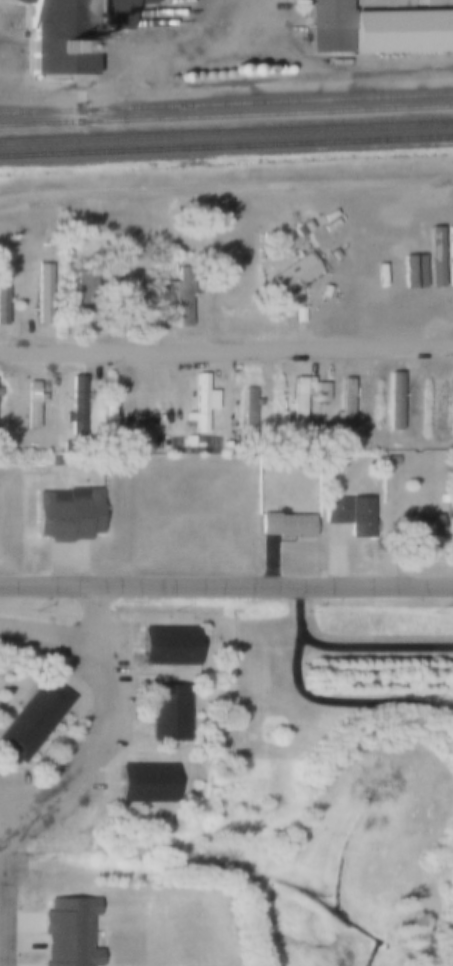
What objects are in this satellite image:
building: (326, 26)
building: (68, 32)
building: (395, 32)
building: (210, 65)
silo: (210, 65)
building: (219, 65)
silo: (219, 65)
building: (236, 70)
silo: (236, 70)
building: (251, 70)
silo: (251, 70)
building: (264, 70)
silo: (264, 70)
building: (274, 70)
silo: (274, 70)
building: (285, 70)
silo: (285, 70)
building: (225, 74)
silo: (225, 74)
building: (194, 75)
silo: (194, 75)
building: (205, 75)
silo: (205, 75)
building: (215, 75)
silo: (215, 75)
railway: (226, 101)
railway: (226, 113)
railway: (226, 134)
railway: (226, 147)
road: (225, 191)
building: (298, 230)
building: (293, 273)
building: (87, 287)
building: (178, 292)
building: (2, 294)
building: (43, 294)
building: (131, 297)
road: (226, 349)
building: (392, 401)
building: (76, 402)
building: (199, 403)
building: (31, 404)
building: (343, 405)
building: (248, 407)
building: (443, 407)
building: (296, 417)
building: (188, 441)
building: (143, 446)
building: (389, 460)
building: (67, 514)
building: (349, 514)
building: (285, 524)
building: (413, 525)
building: (450, 528)
road: (226, 586)
road: (100, 627)
building: (166, 645)
road: (376, 647)
road: (322, 702)
building: (167, 712)
building: (32, 718)
road: (103, 729)
building: (143, 783)
road: (0, 866)
road: (0, 916)
building: (67, 932)
road: (446, 951)

